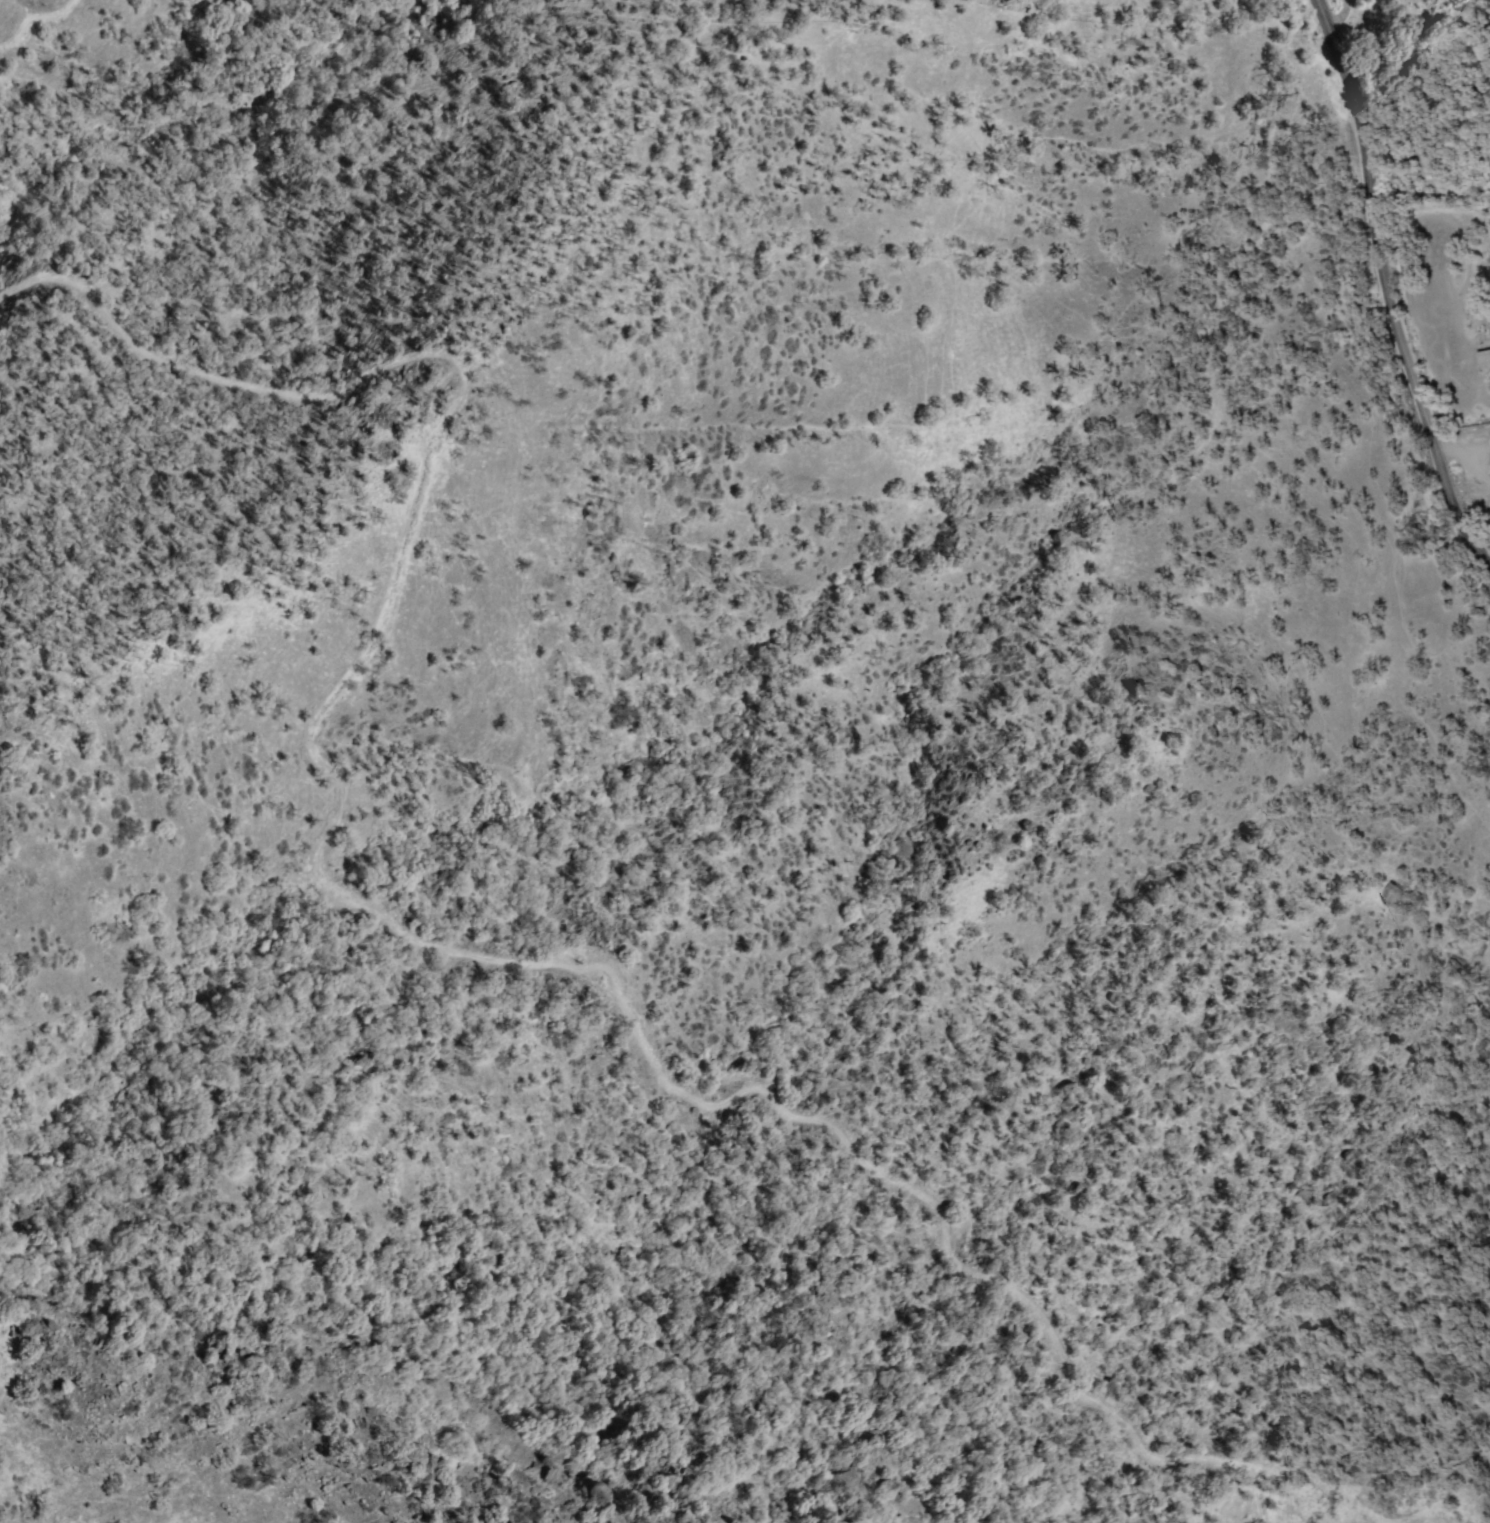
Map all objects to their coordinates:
road: (1385, 290)

